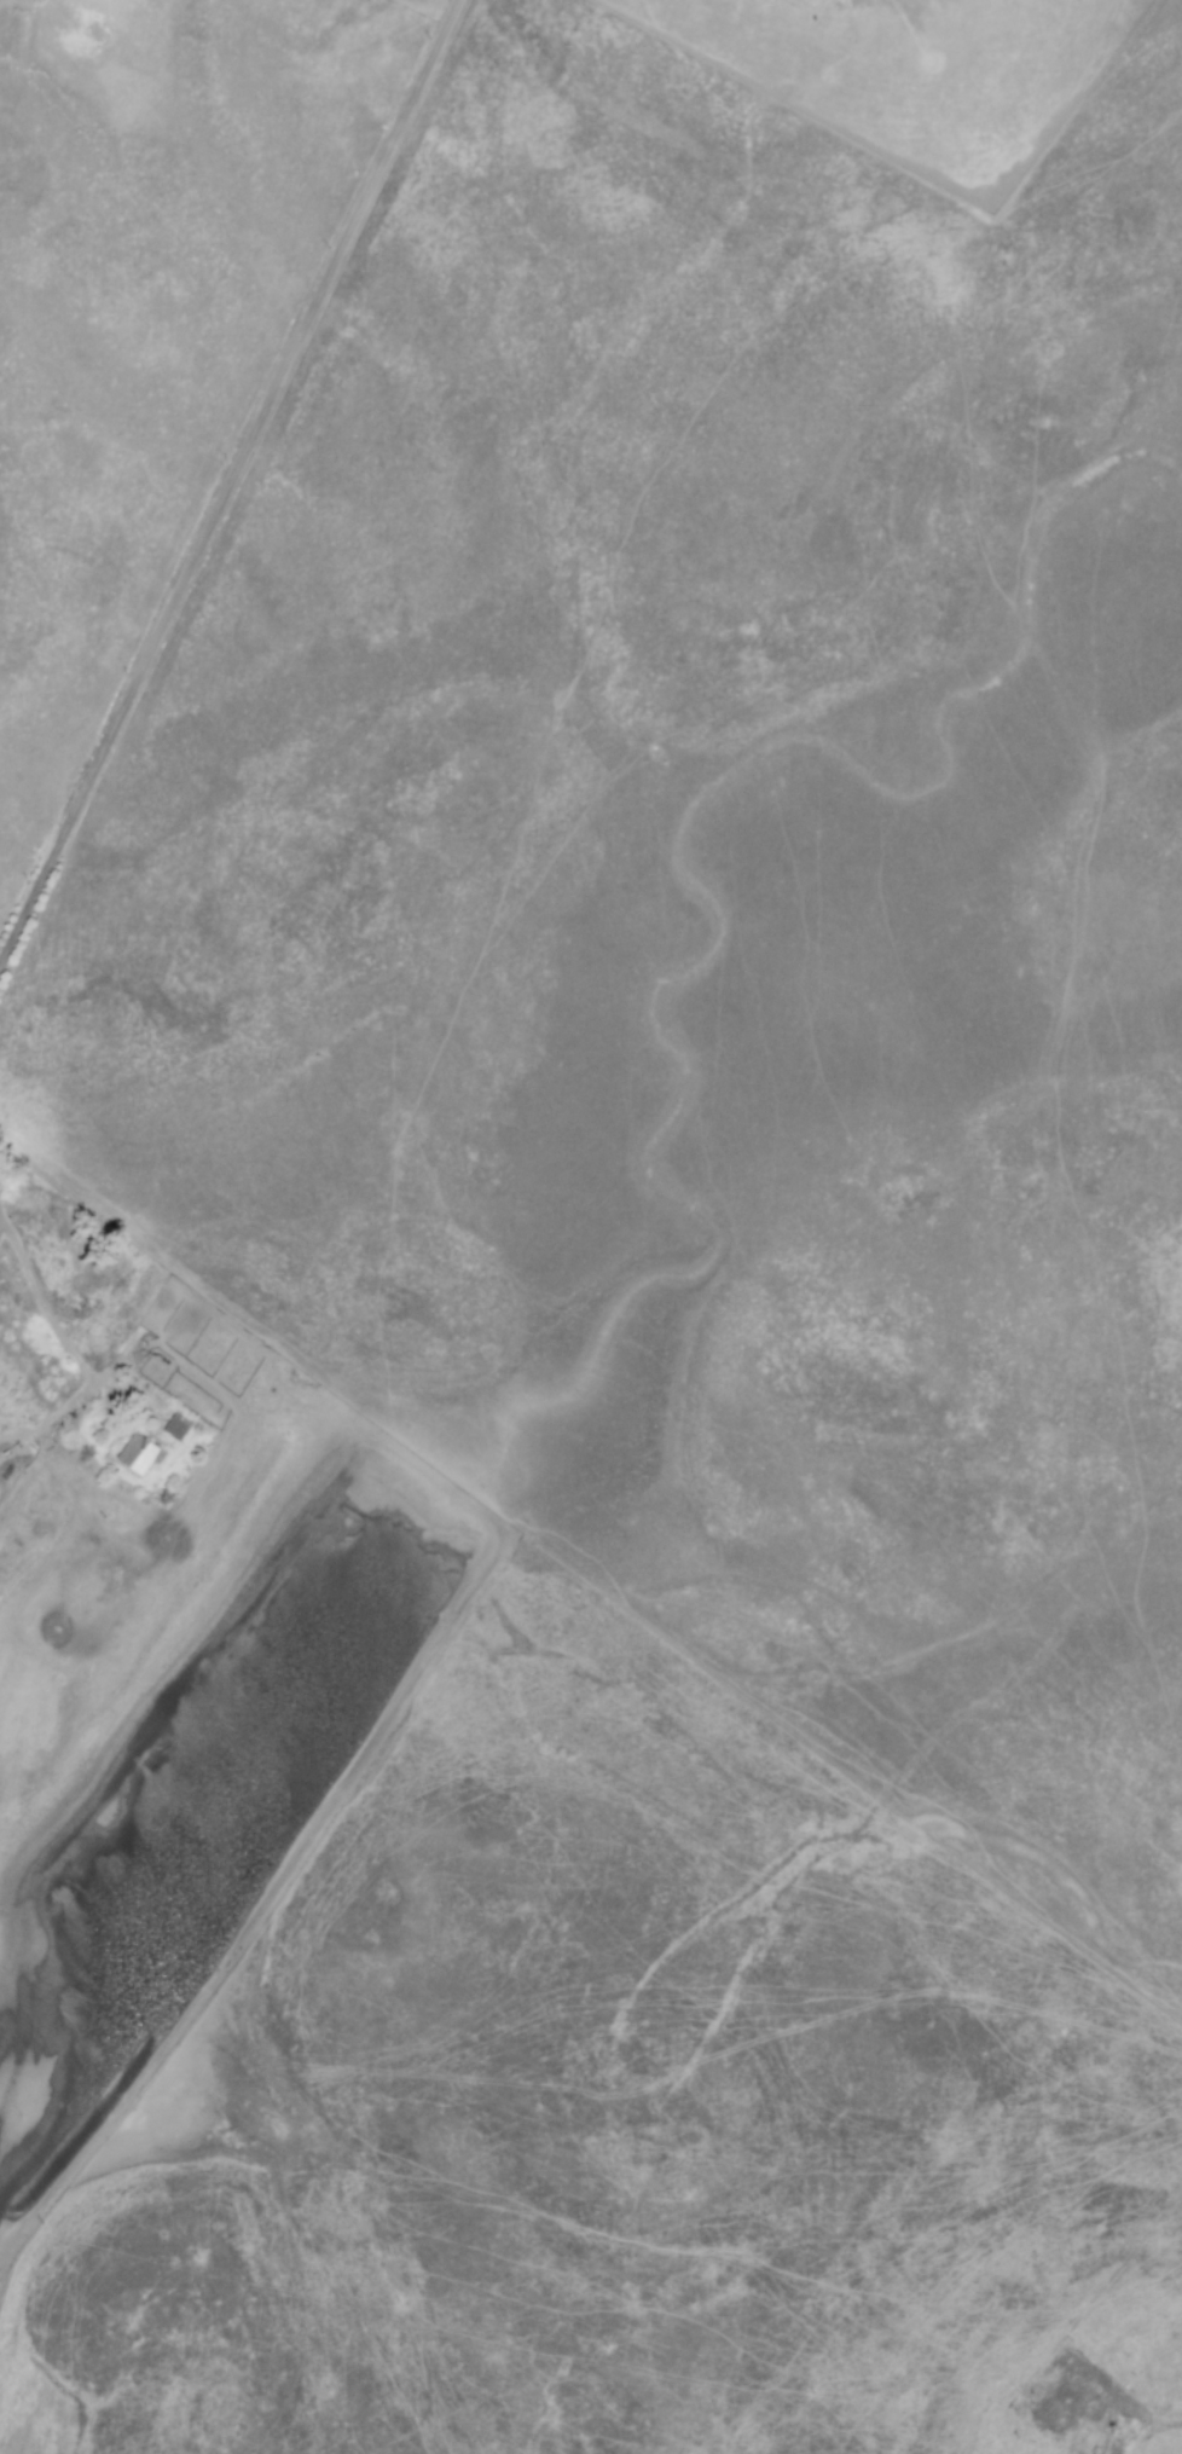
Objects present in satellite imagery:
road: (225, 478)
road: (69, 1349)
building: (175, 1426)
building: (138, 1454)

